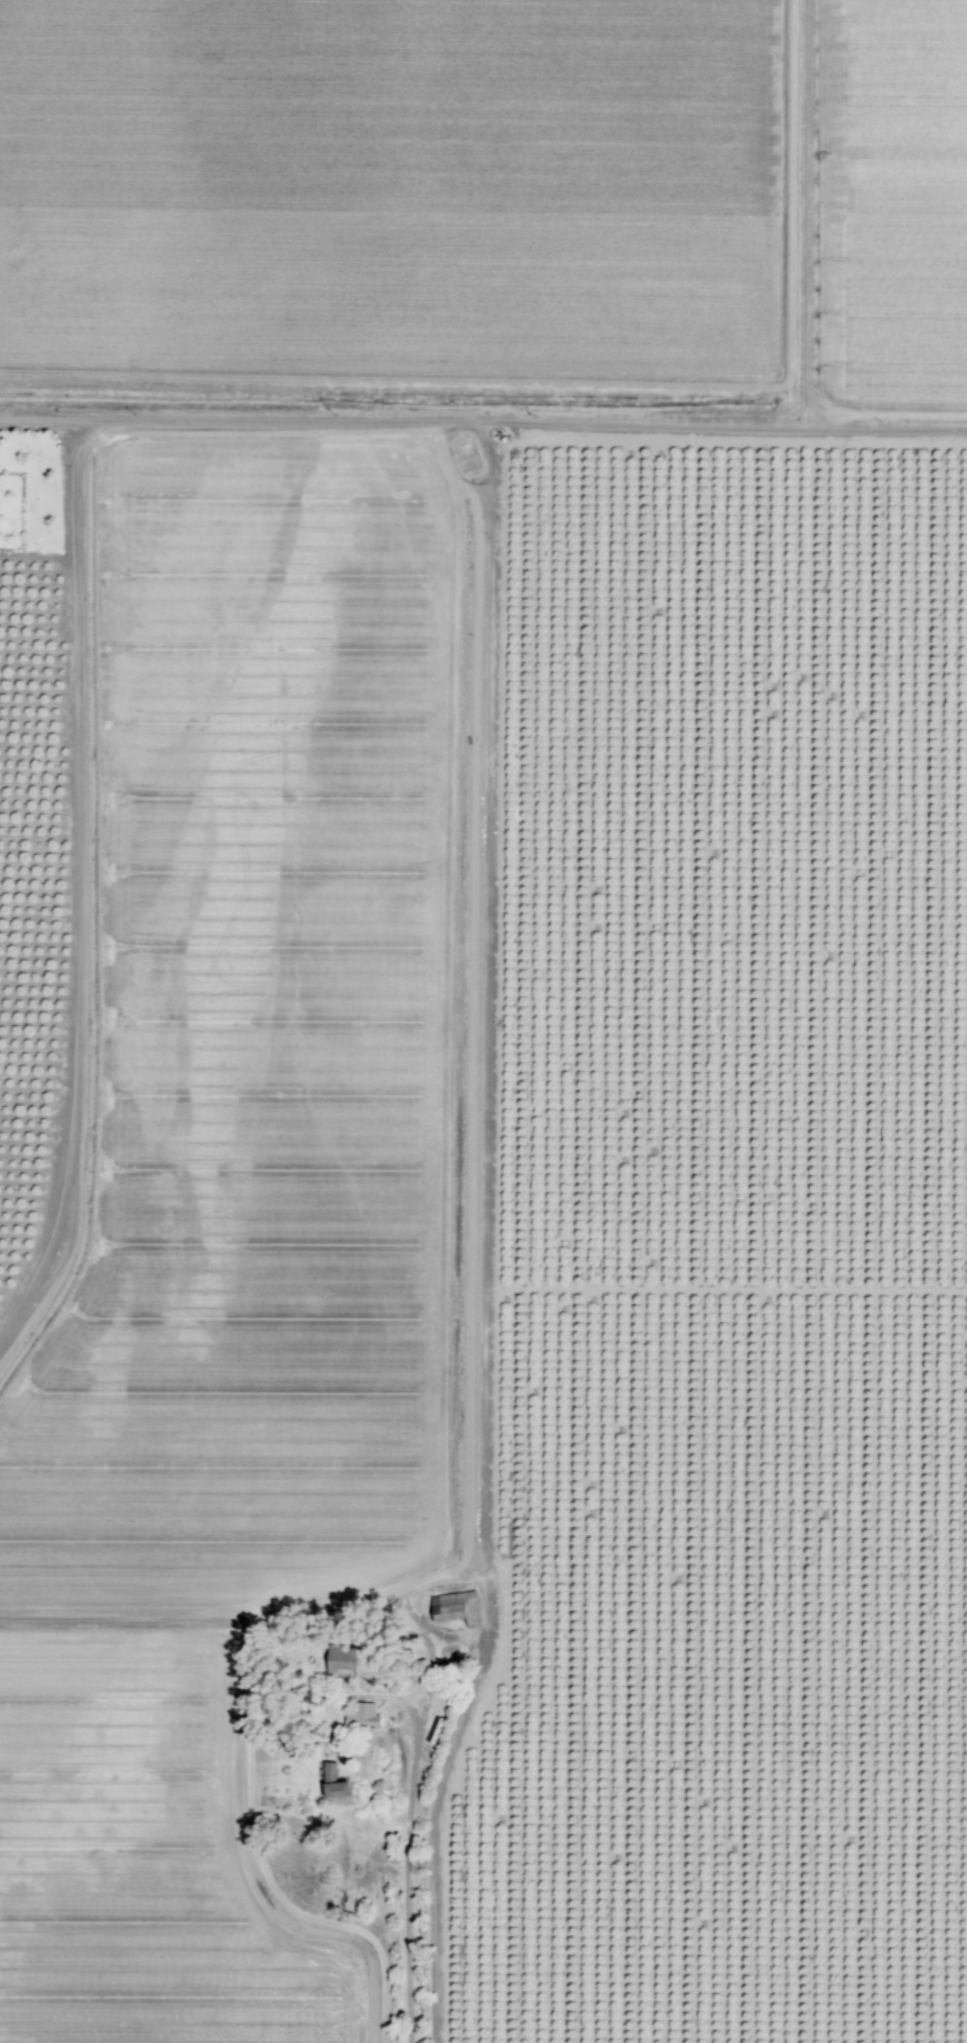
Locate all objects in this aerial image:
crop: (348, 802)
building: (451, 1607)
building: (359, 1717)
building: (327, 1783)
road: (439, 1821)

